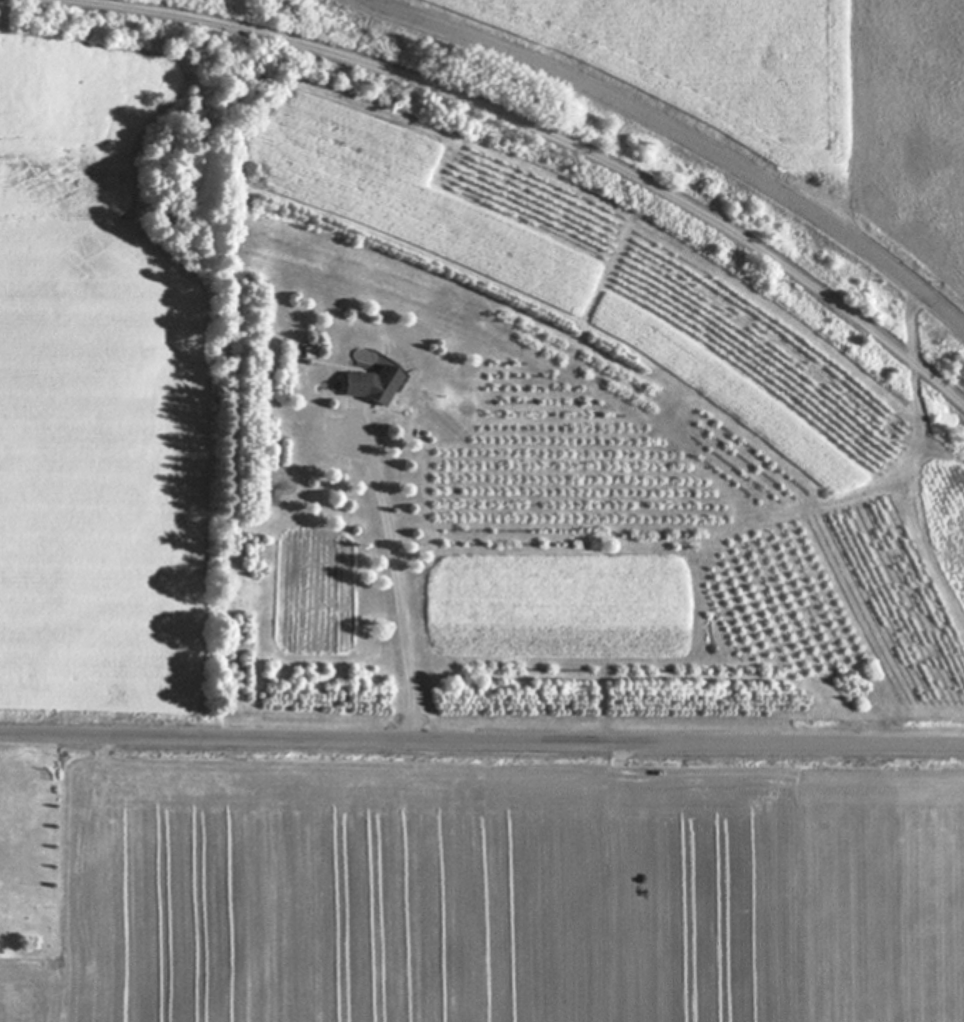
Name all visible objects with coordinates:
road: (544, 134)
road: (683, 134)
building: (368, 386)
road: (399, 579)
road: (482, 737)

